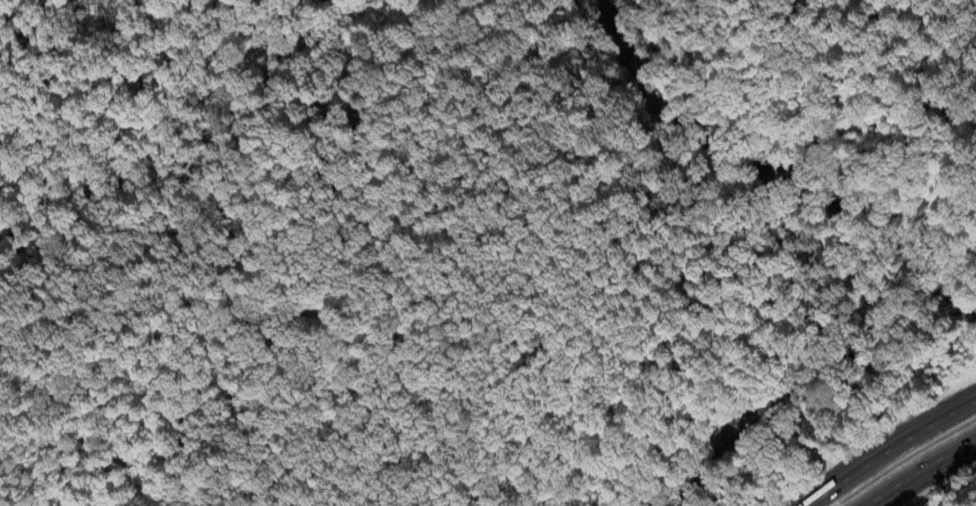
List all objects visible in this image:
road: (894, 452)
road: (928, 471)

